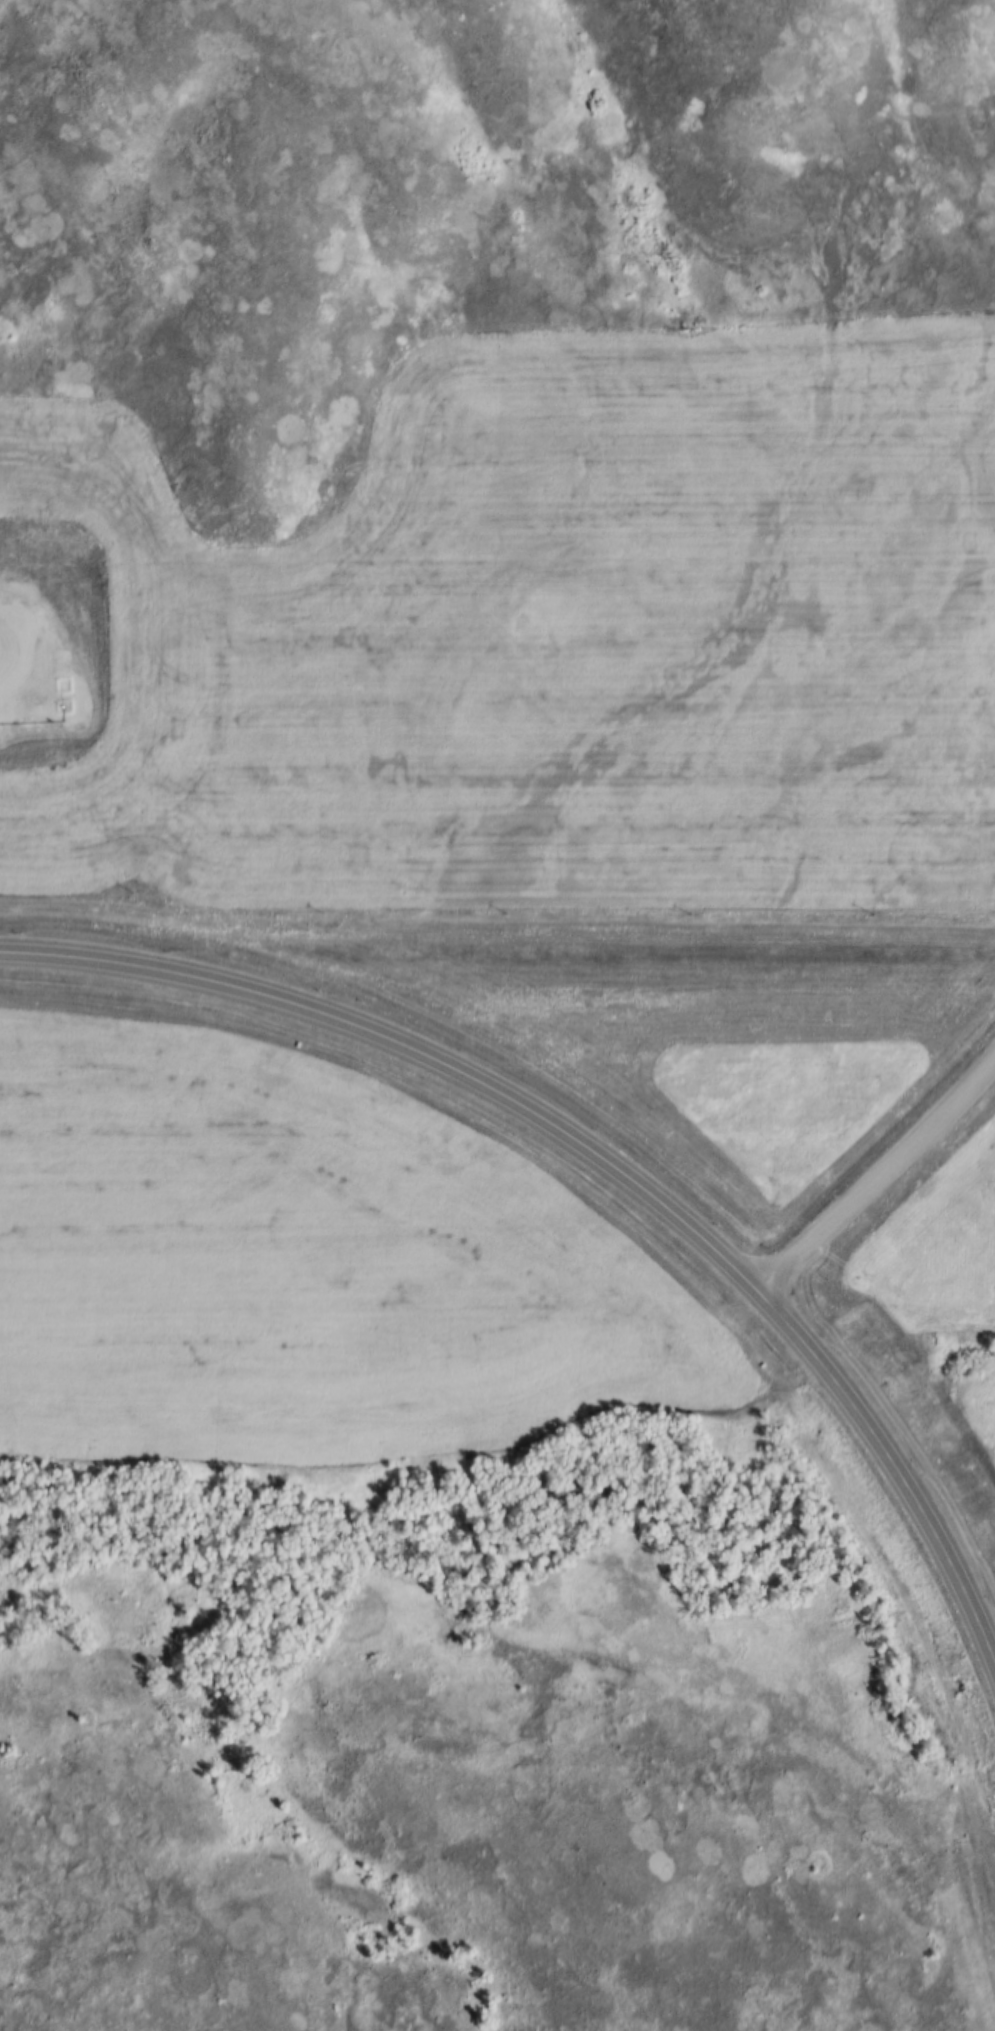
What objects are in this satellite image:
road: (610, 1169)
road: (878, 1174)

